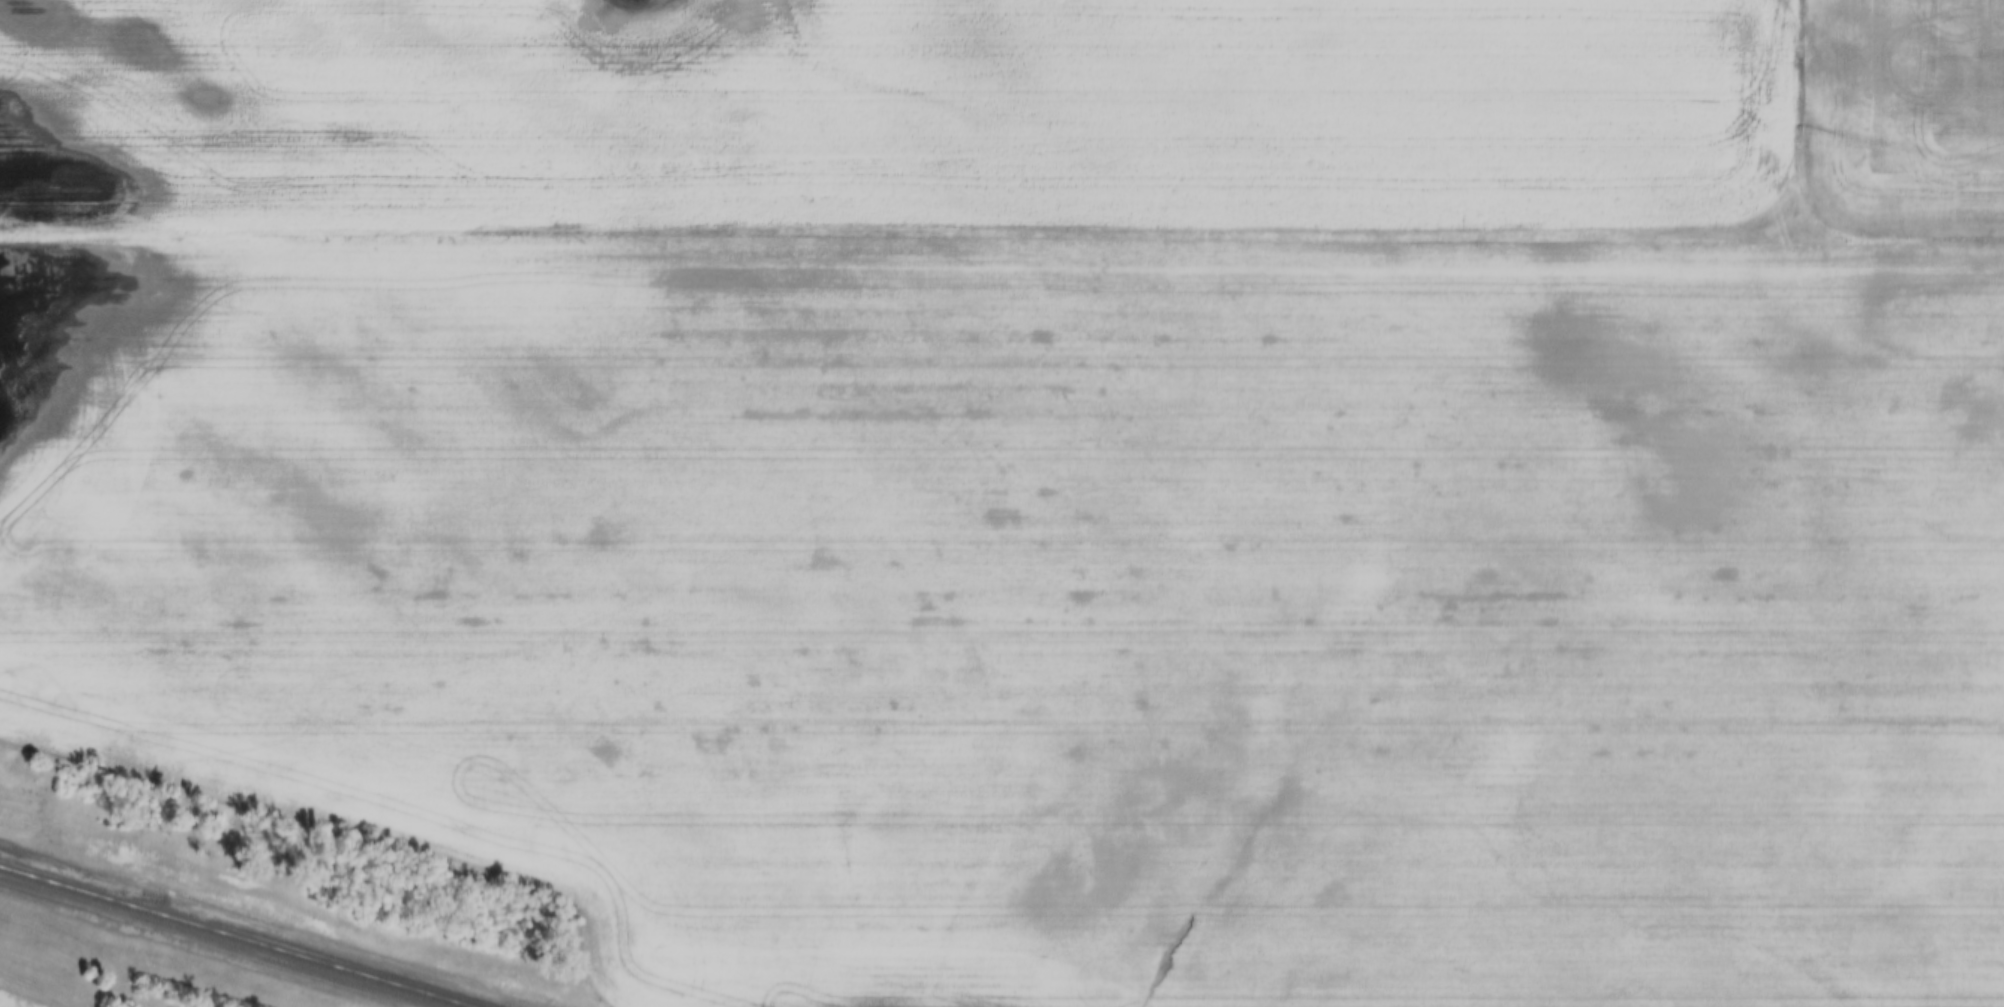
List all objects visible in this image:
railway: (232, 937)

